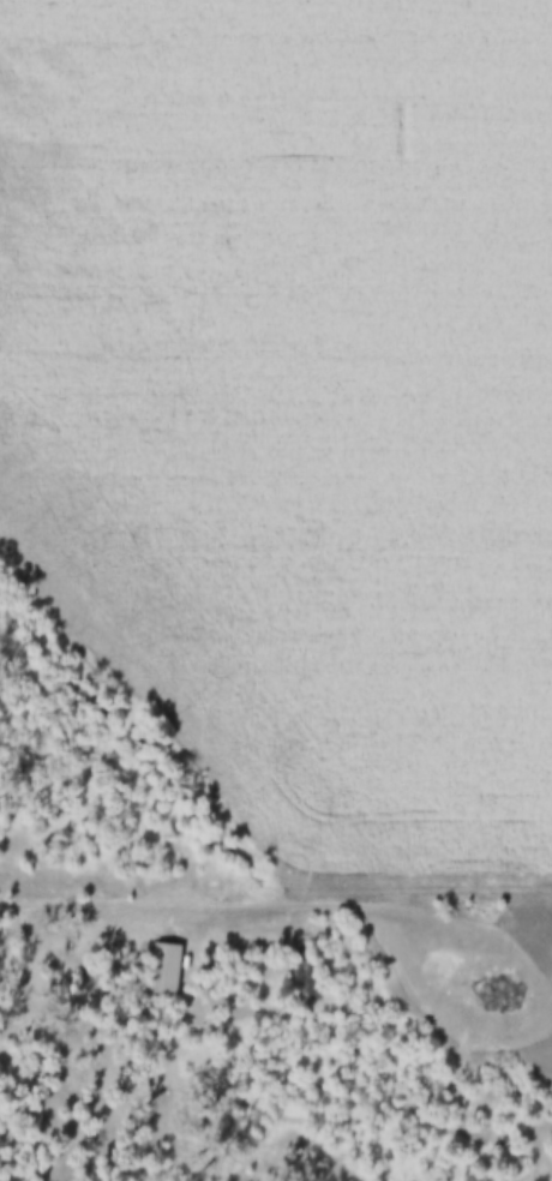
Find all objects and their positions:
building: (161, 972)

